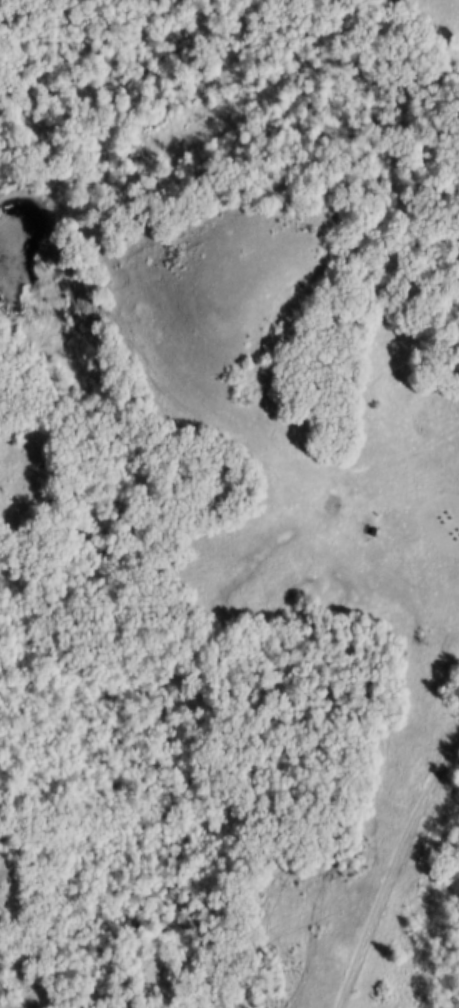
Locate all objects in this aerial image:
road: (390, 870)

